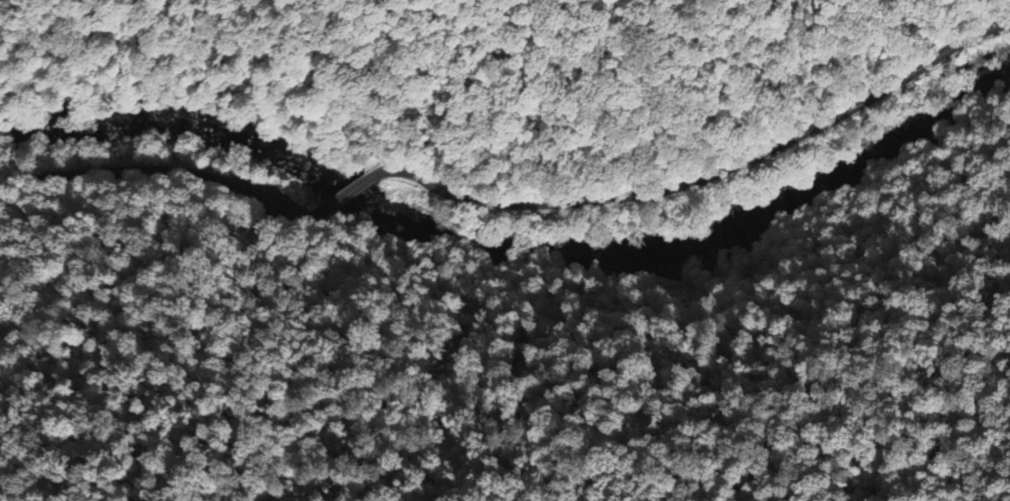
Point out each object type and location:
road: (163, 172)
road: (705, 177)
road: (344, 197)
river: (504, 250)

